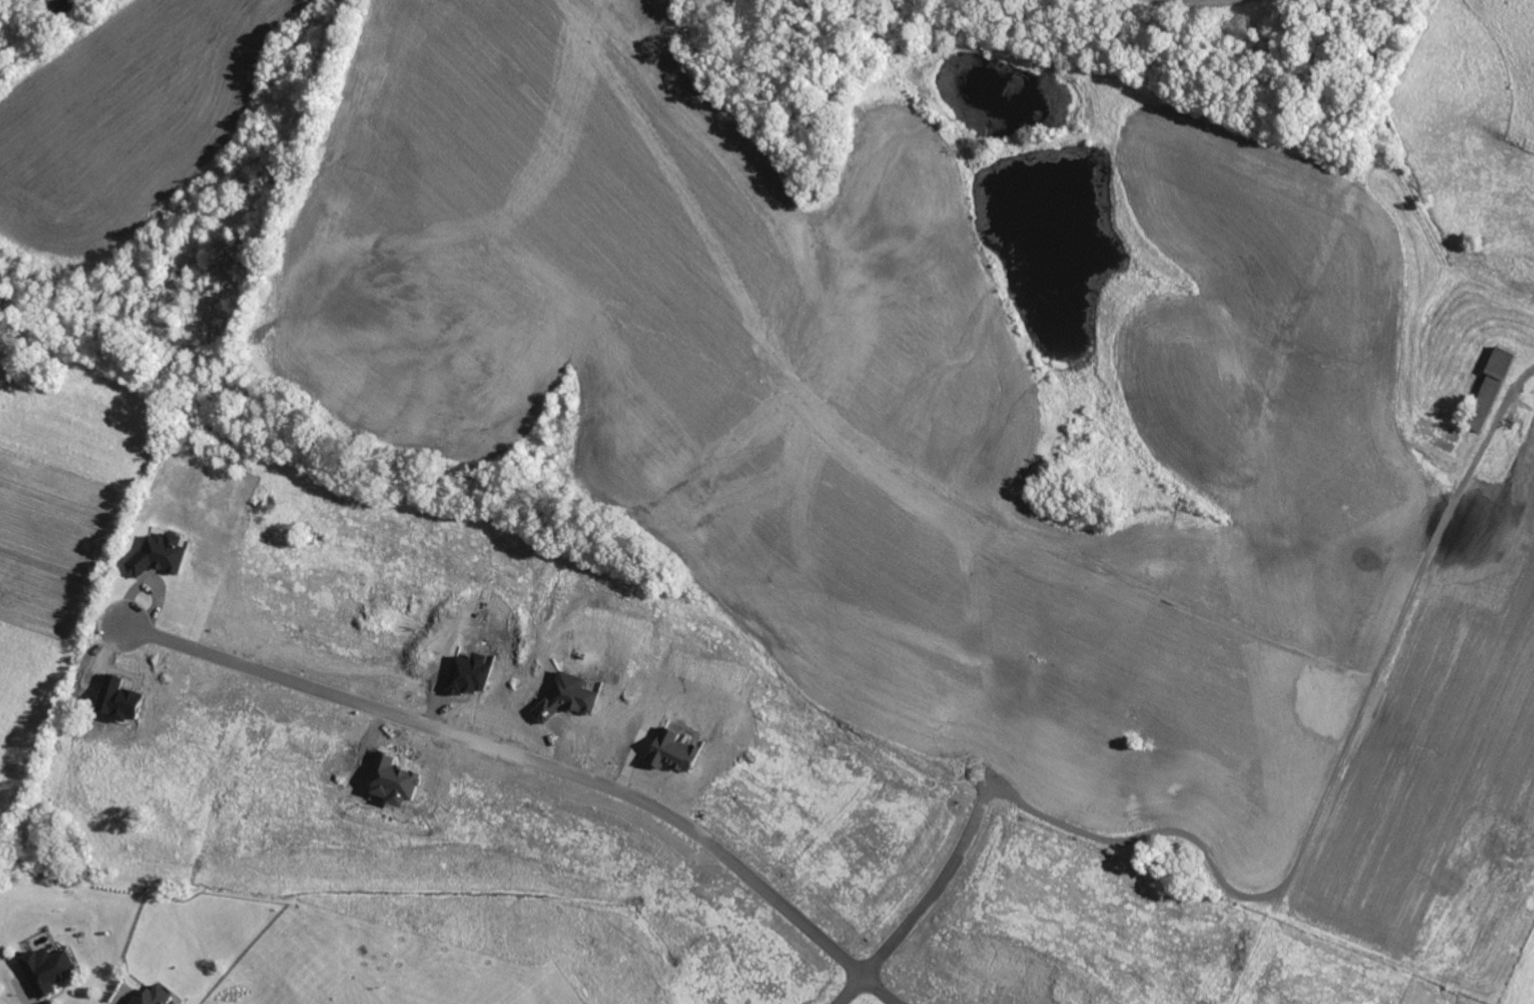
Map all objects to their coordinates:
building: (1488, 390)
building: (157, 555)
road: (534, 763)
road: (1330, 780)
road: (923, 905)
building: (45, 970)
building: (151, 996)

